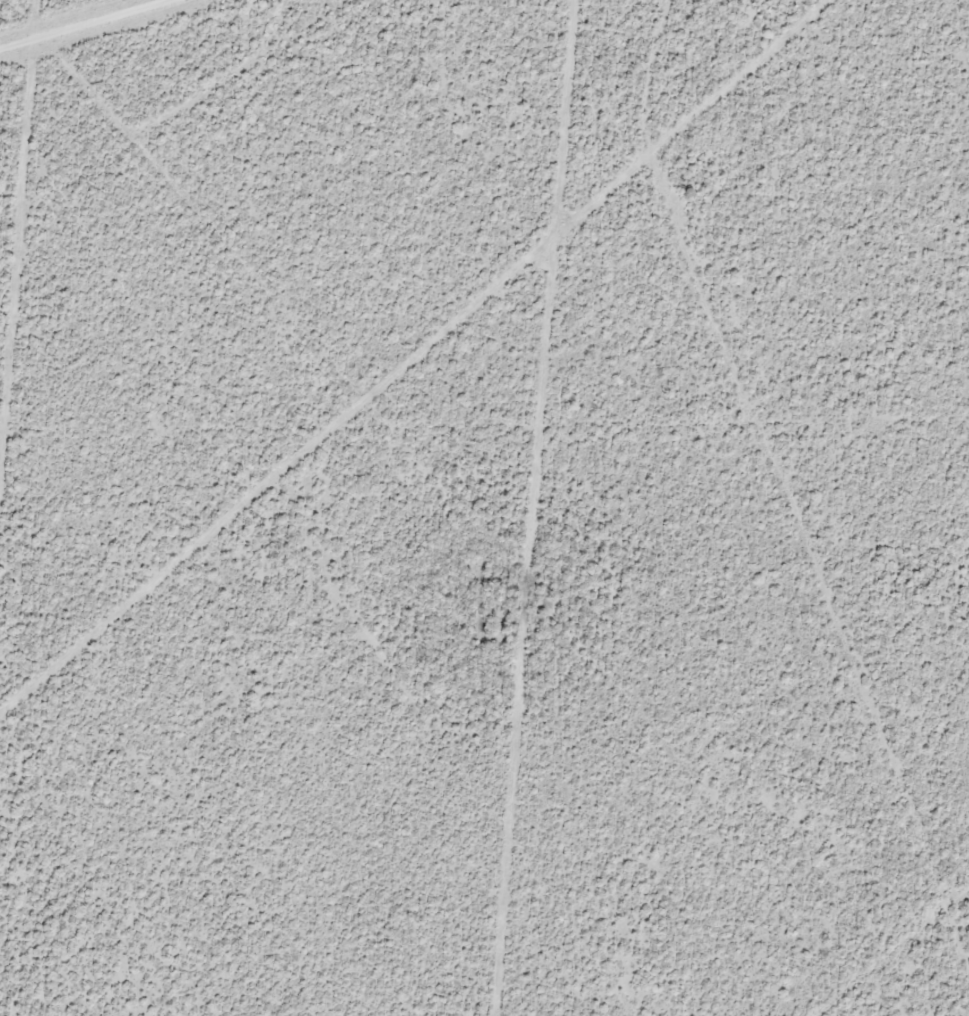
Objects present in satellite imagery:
road: (794, 461)

